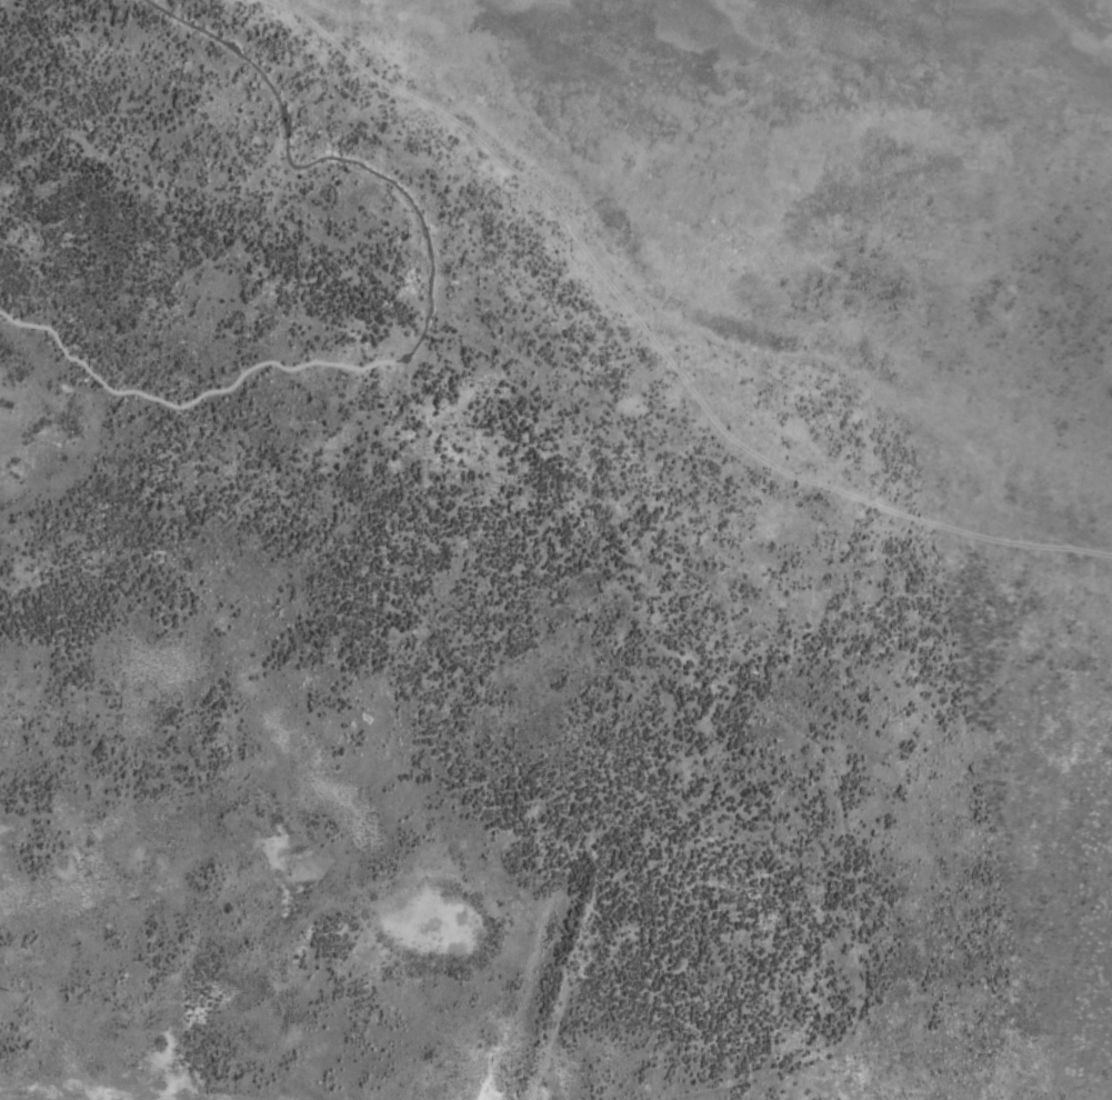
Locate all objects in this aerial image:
crop: (555, 550)

